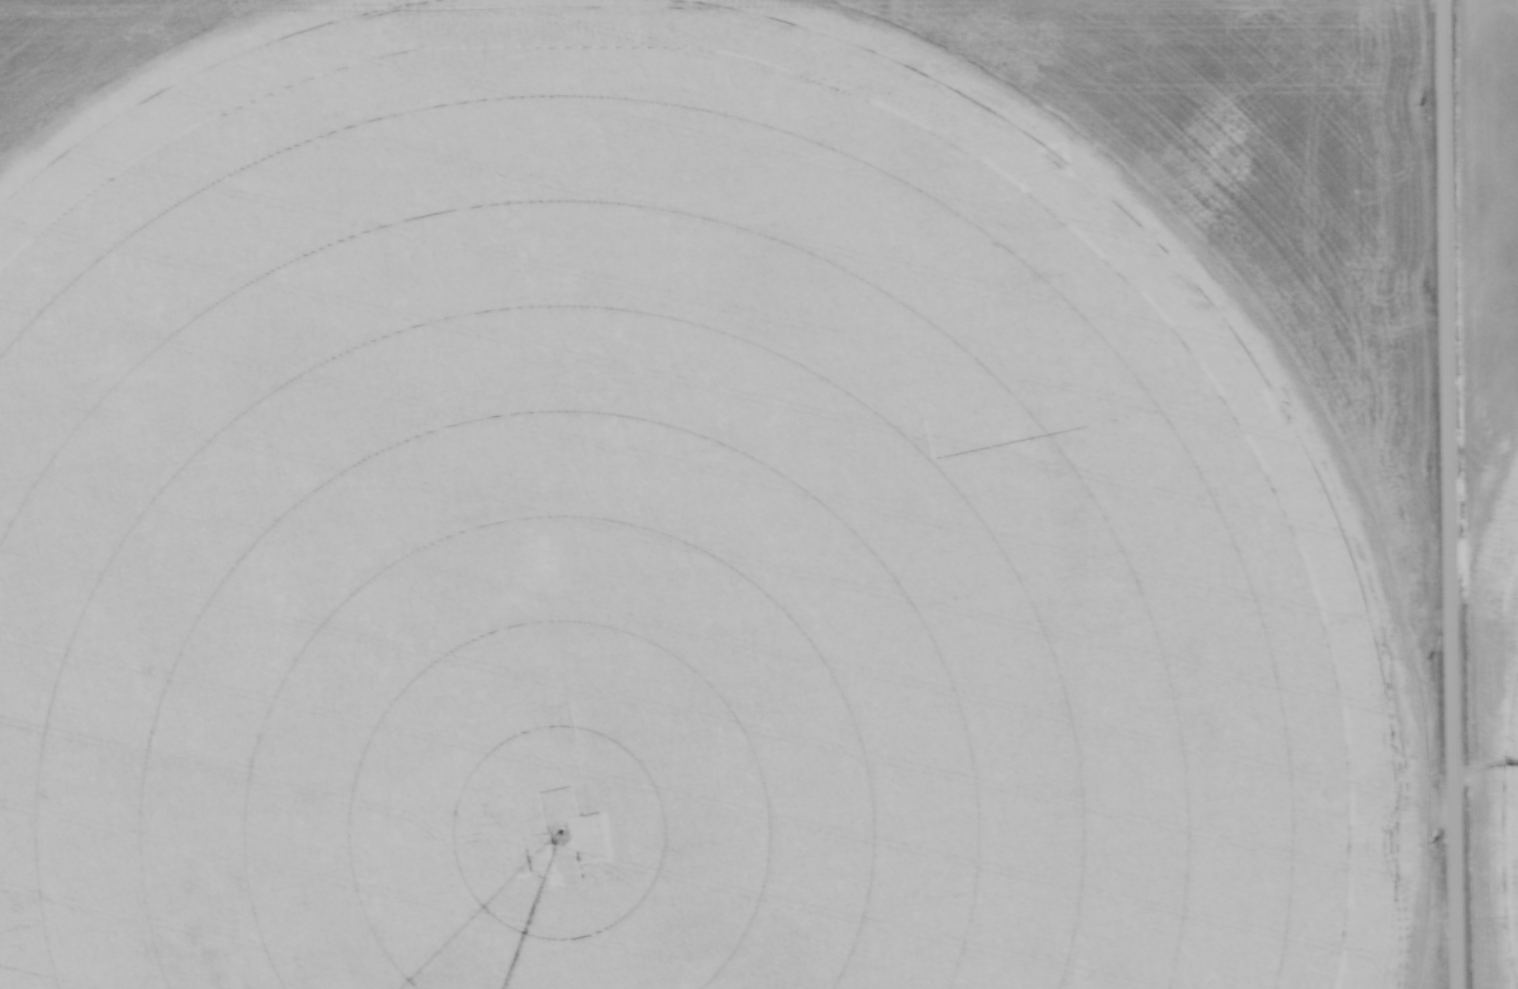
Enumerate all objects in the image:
road: (1452, 494)

